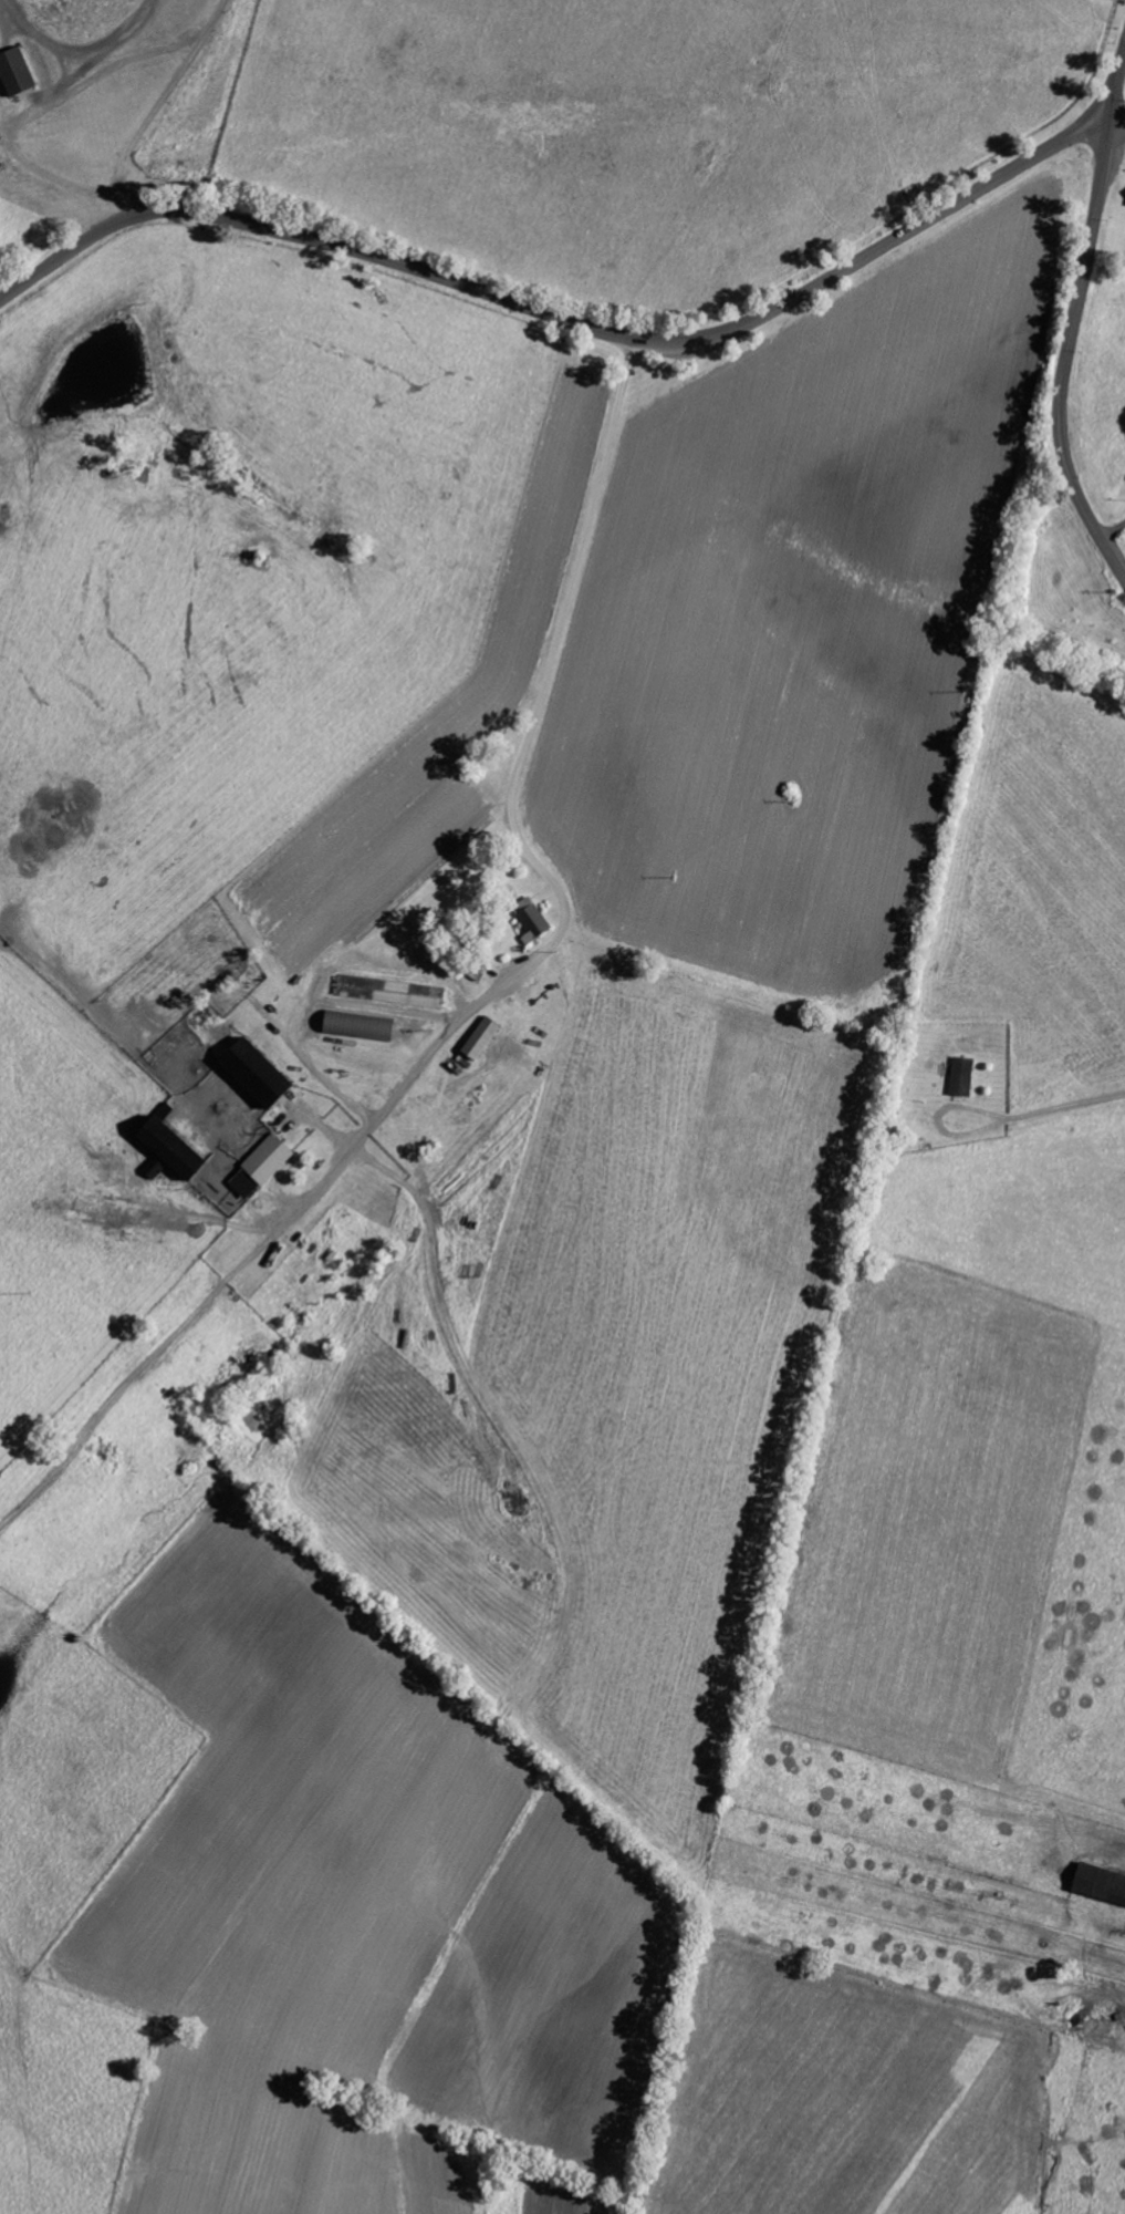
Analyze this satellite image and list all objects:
building: (20, 74)
road: (1116, 87)
road: (45, 107)
road: (156, 107)
road: (1117, 123)
road: (563, 322)
road: (1066, 356)
road: (518, 848)
building: (540, 925)
building: (395, 993)
building: (364, 1030)
building: (488, 1038)
building: (264, 1076)
building: (967, 1077)
road: (1069, 1105)
road: (936, 1122)
building: (181, 1148)
building: (160, 1168)
building: (267, 1168)
building: (1104, 1884)

